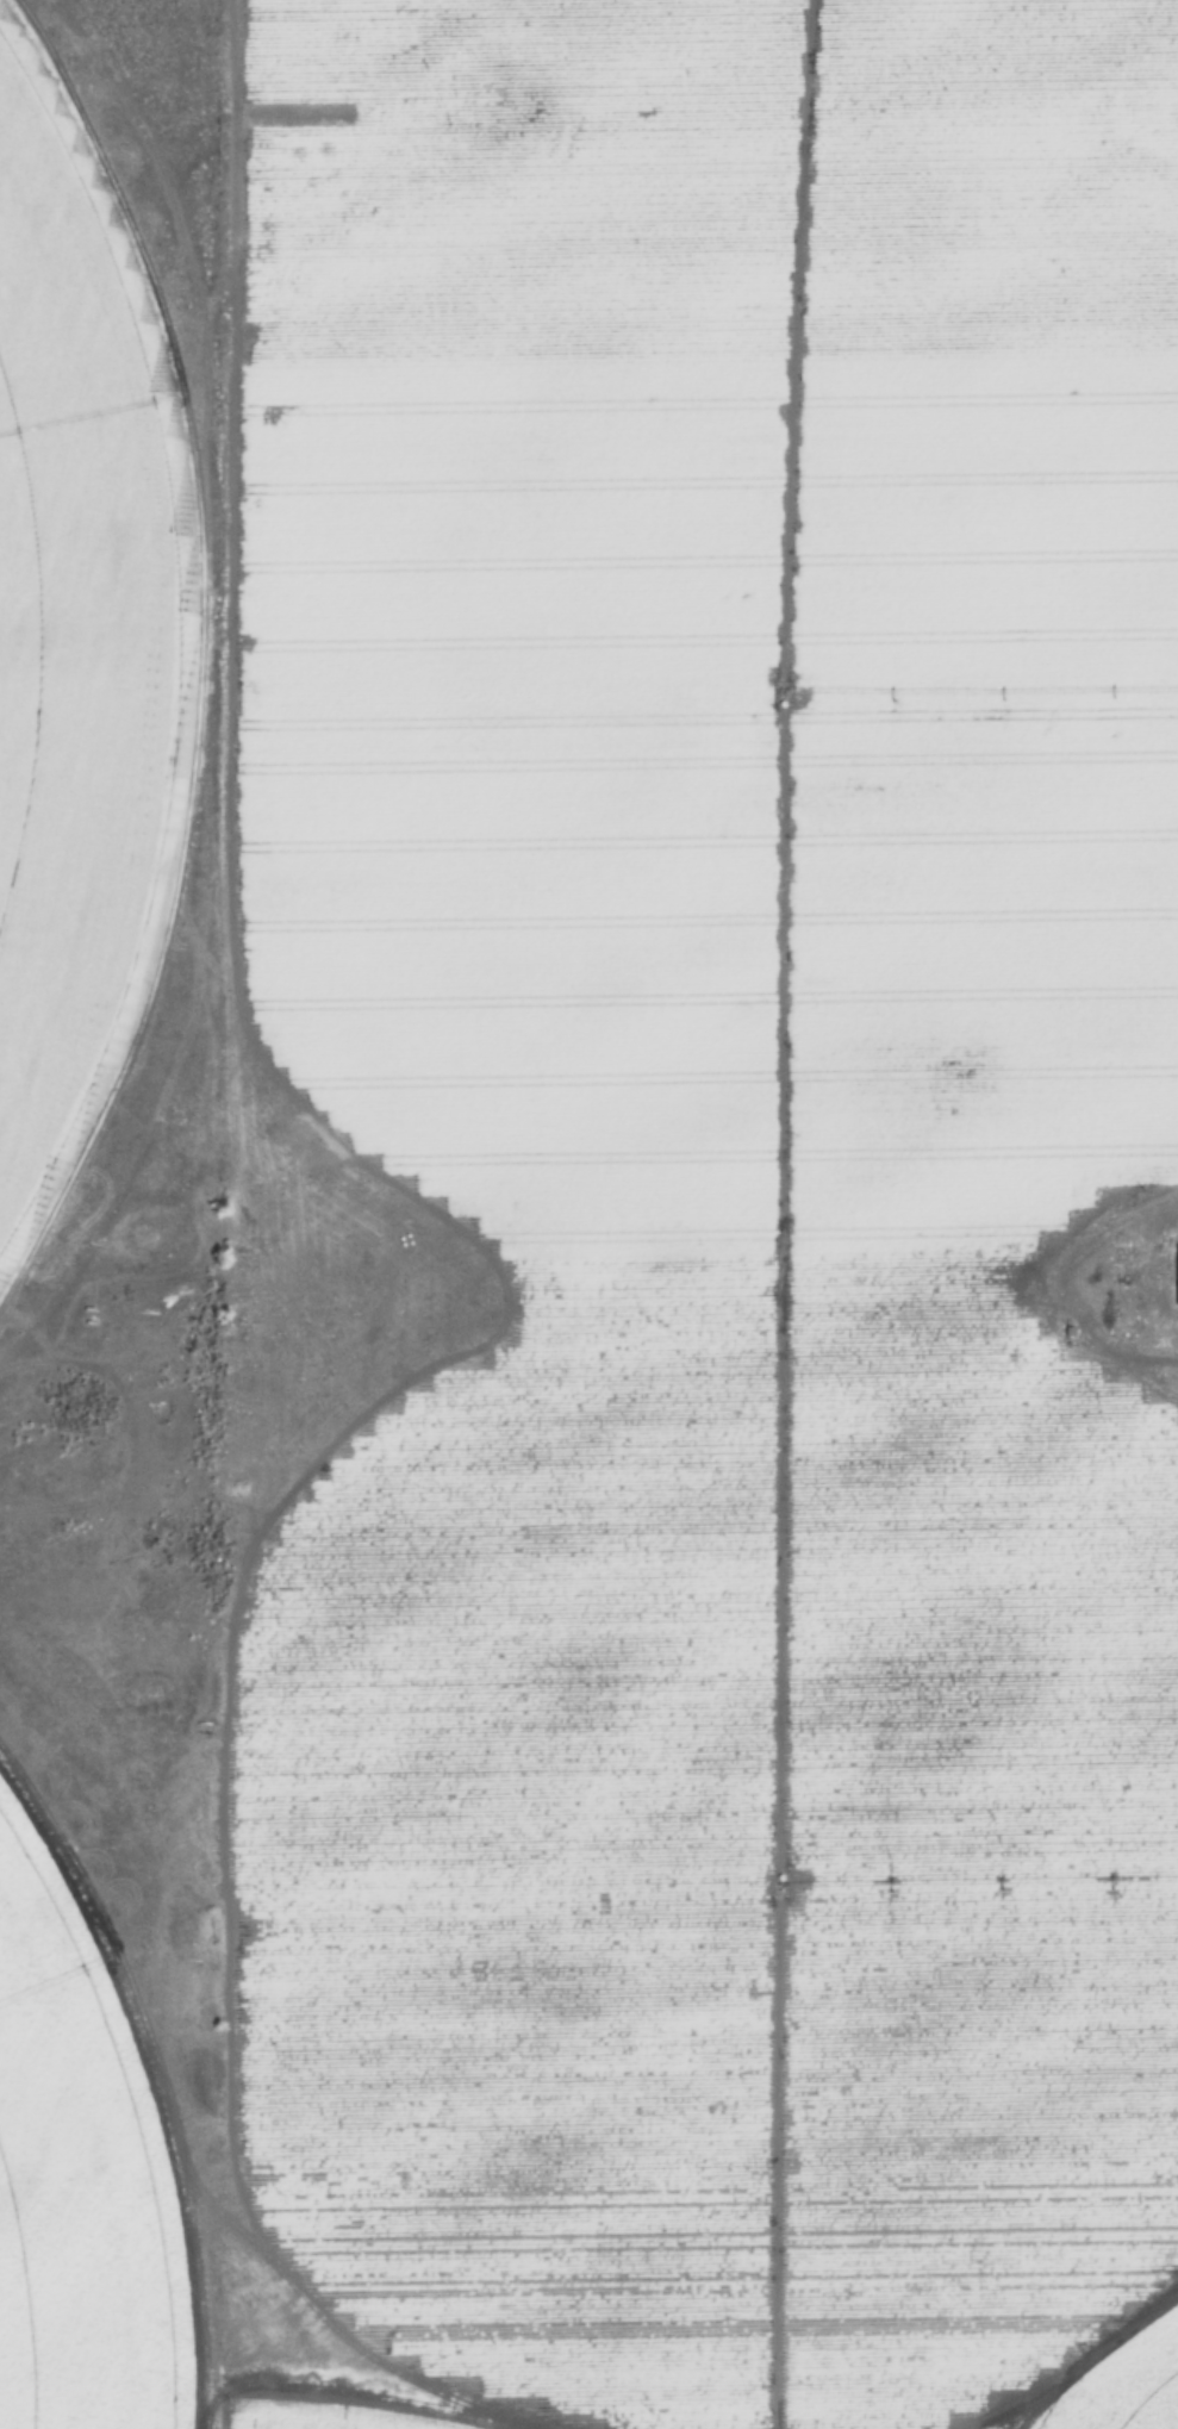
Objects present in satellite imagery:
crop: (71, 640)
crop: (729, 647)
building: (1177, 1275)

